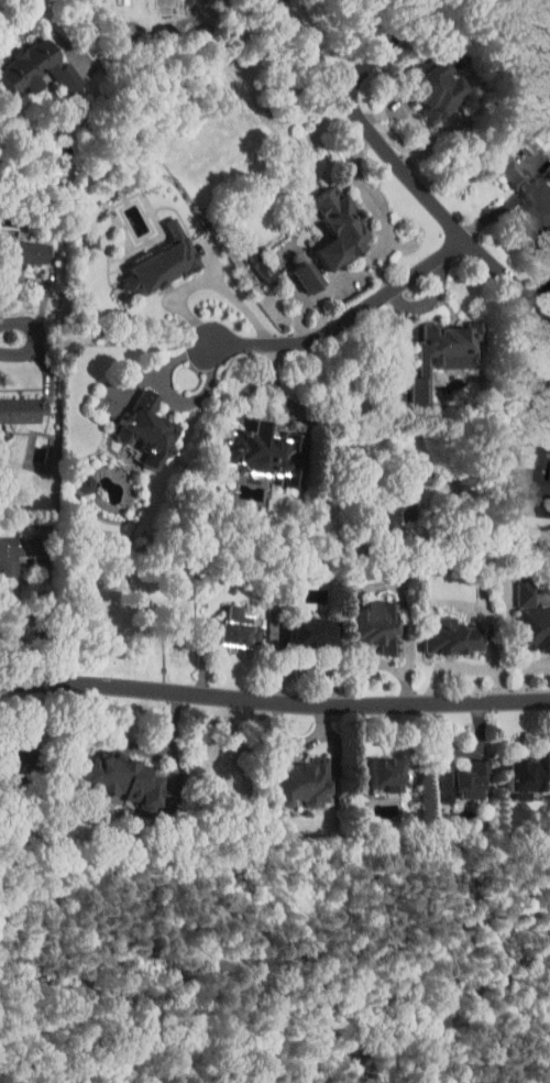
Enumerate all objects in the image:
road: (20, 25)
road: (59, 36)
road: (386, 50)
building: (26, 62)
building: (418, 85)
road: (403, 166)
building: (521, 188)
road: (509, 211)
building: (319, 218)
building: (15, 244)
road: (380, 251)
building: (145, 253)
building: (242, 255)
building: (290, 267)
road: (543, 293)
road: (237, 296)
road: (183, 304)
road: (343, 324)
road: (42, 339)
building: (428, 347)
building: (14, 403)
road: (541, 411)
building: (130, 422)
building: (248, 445)
road: (518, 450)
building: (530, 464)
road: (372, 496)
building: (378, 507)
building: (7, 540)
road: (490, 604)
building: (359, 619)
building: (220, 621)
building: (526, 621)
building: (294, 625)
road: (40, 630)
building: (436, 630)
road: (274, 698)
building: (3, 754)
building: (510, 765)
building: (369, 767)
building: (101, 774)
building: (286, 775)
building: (446, 775)

